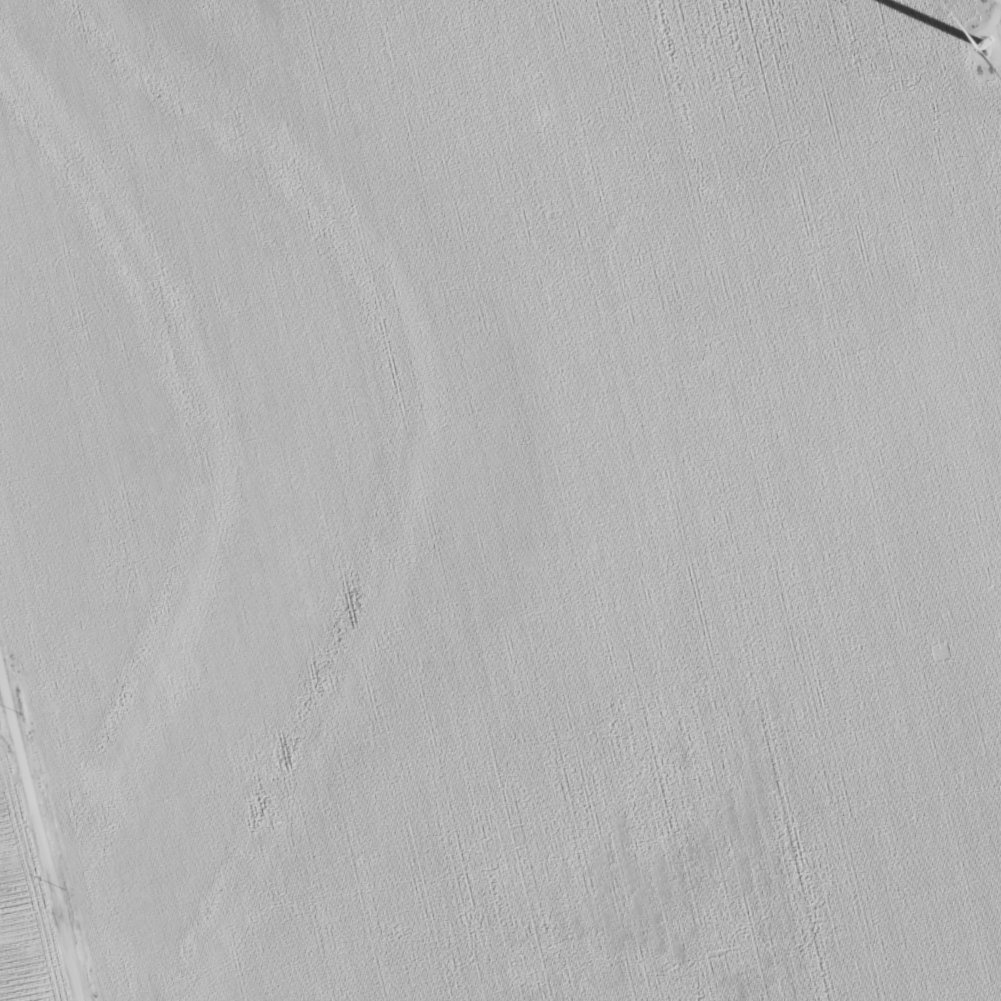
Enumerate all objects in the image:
wind turbine: (974, 38)
road: (41, 828)

